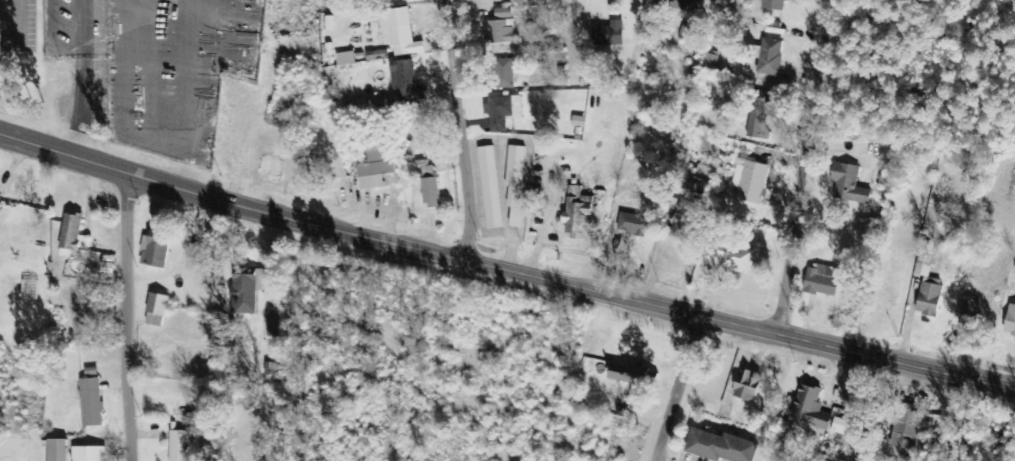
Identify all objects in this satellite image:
building: (686, 5)
building: (774, 5)
road: (552, 17)
building: (500, 26)
building: (688, 29)
building: (399, 32)
building: (608, 34)
building: (376, 55)
building: (769, 56)
building: (345, 59)
building: (503, 74)
road: (83, 78)
building: (405, 82)
building: (503, 112)
building: (759, 115)
road: (462, 129)
road: (806, 166)
building: (377, 169)
building: (748, 181)
building: (515, 184)
building: (848, 184)
building: (490, 187)
building: (693, 192)
building: (429, 193)
building: (576, 210)
building: (626, 221)
building: (683, 231)
building: (72, 233)
building: (154, 252)
building: (737, 259)
building: (925, 261)
road: (504, 269)
building: (822, 281)
building: (246, 290)
building: (928, 300)
building: (157, 305)
building: (969, 313)
road: (123, 317)
building: (1010, 322)
road: (399, 356)
building: (628, 374)
building: (747, 385)
road: (672, 388)
building: (91, 403)
building: (809, 408)
building: (906, 429)
building: (181, 446)
building: (720, 447)
building: (55, 449)
building: (88, 454)

